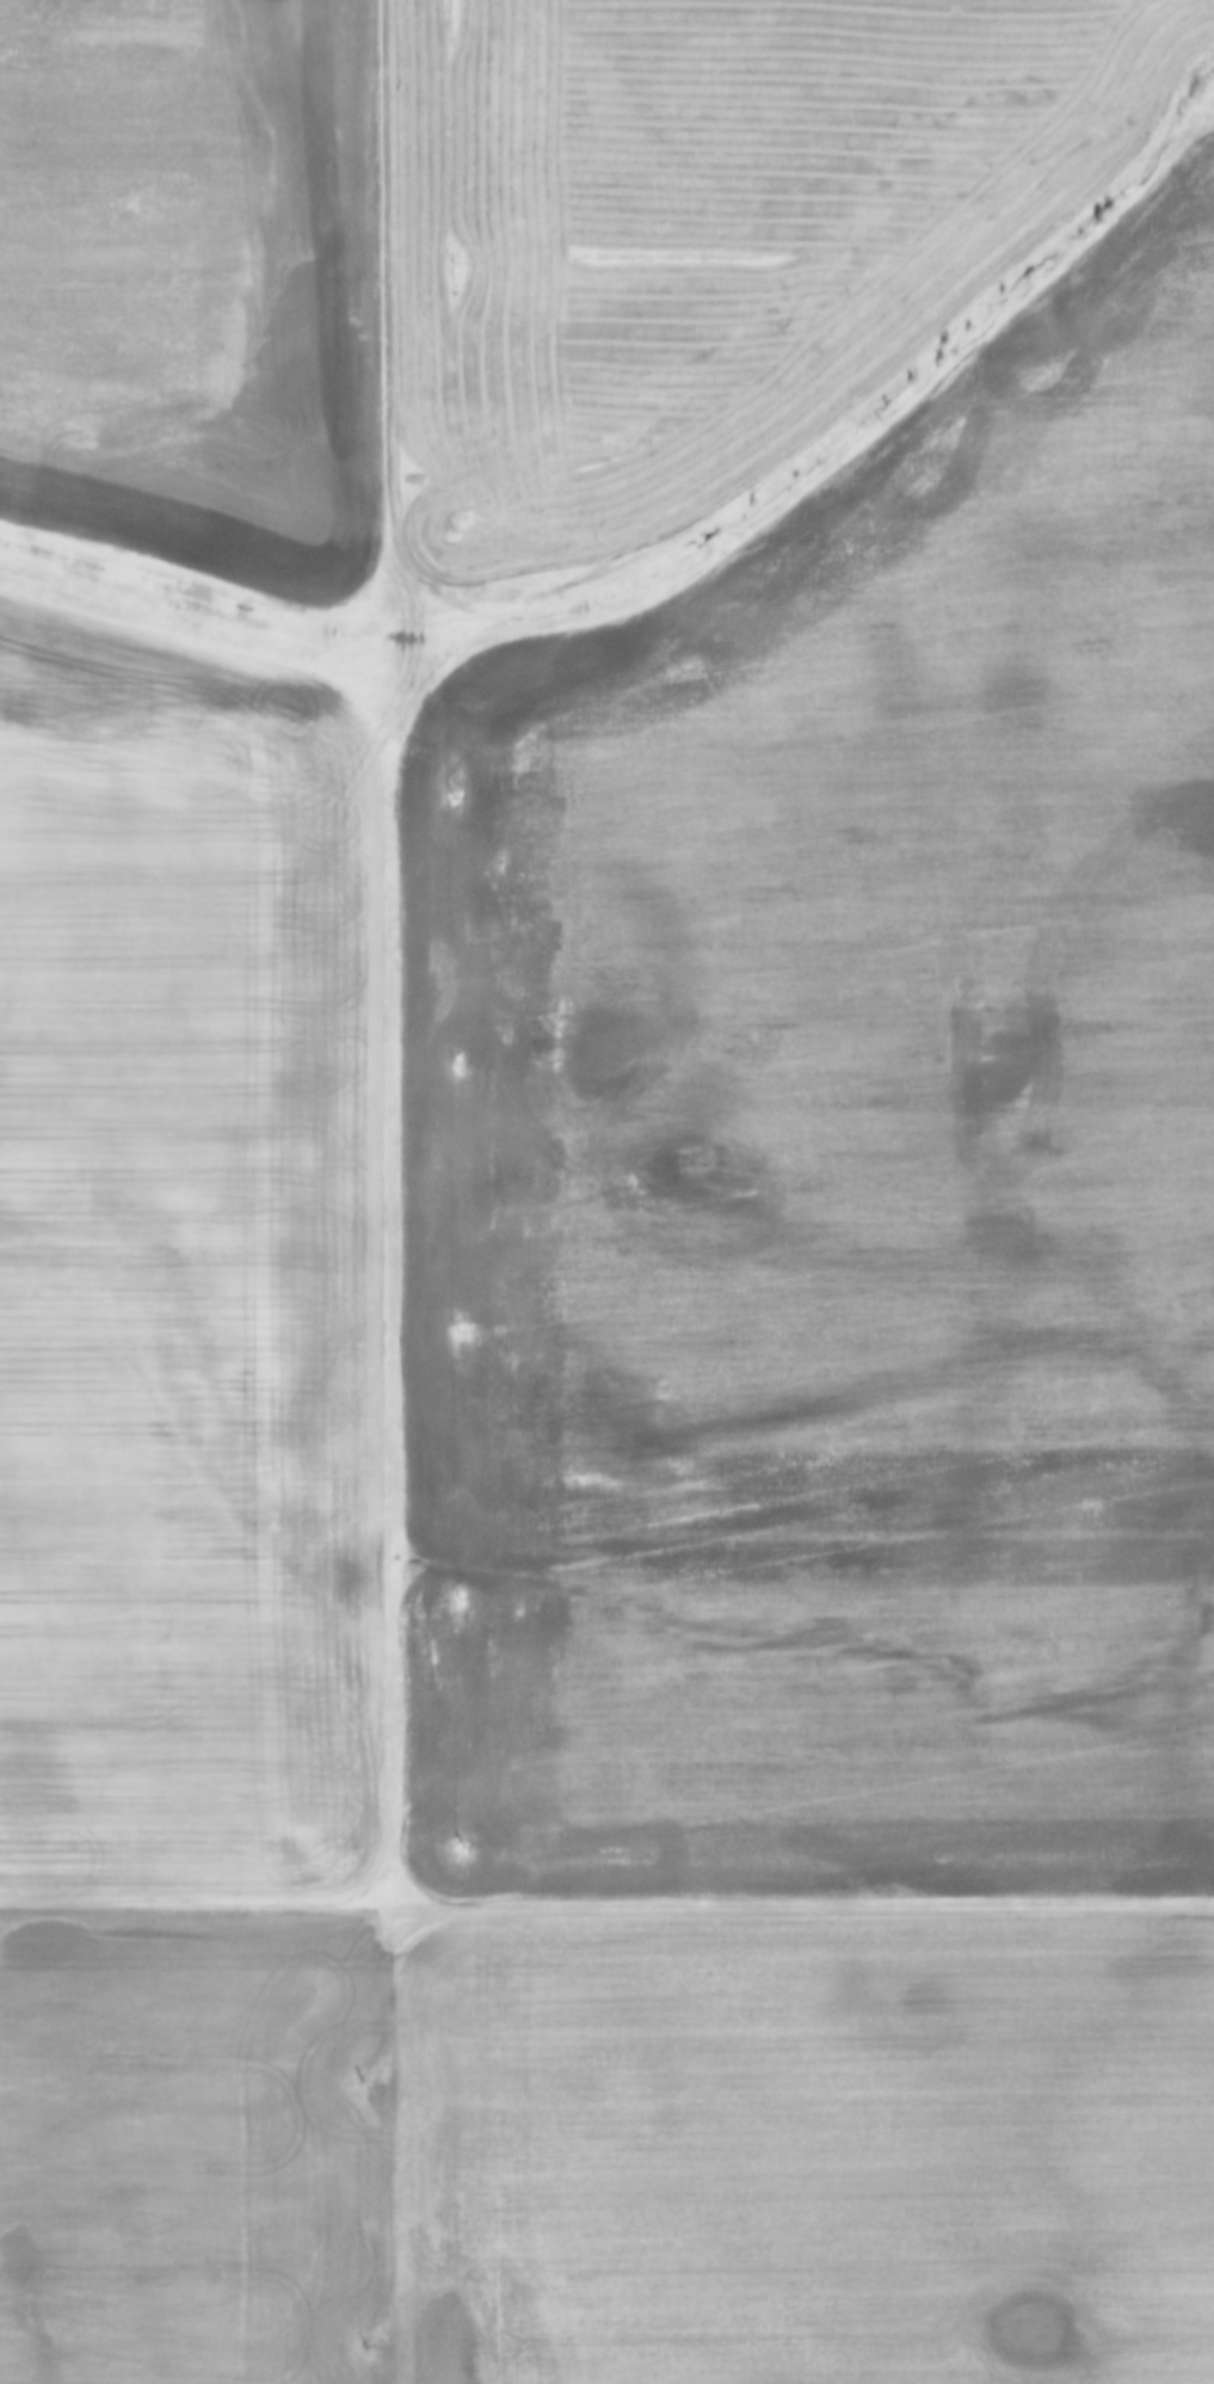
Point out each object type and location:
road: (389, 1191)
road: (606, 1910)

